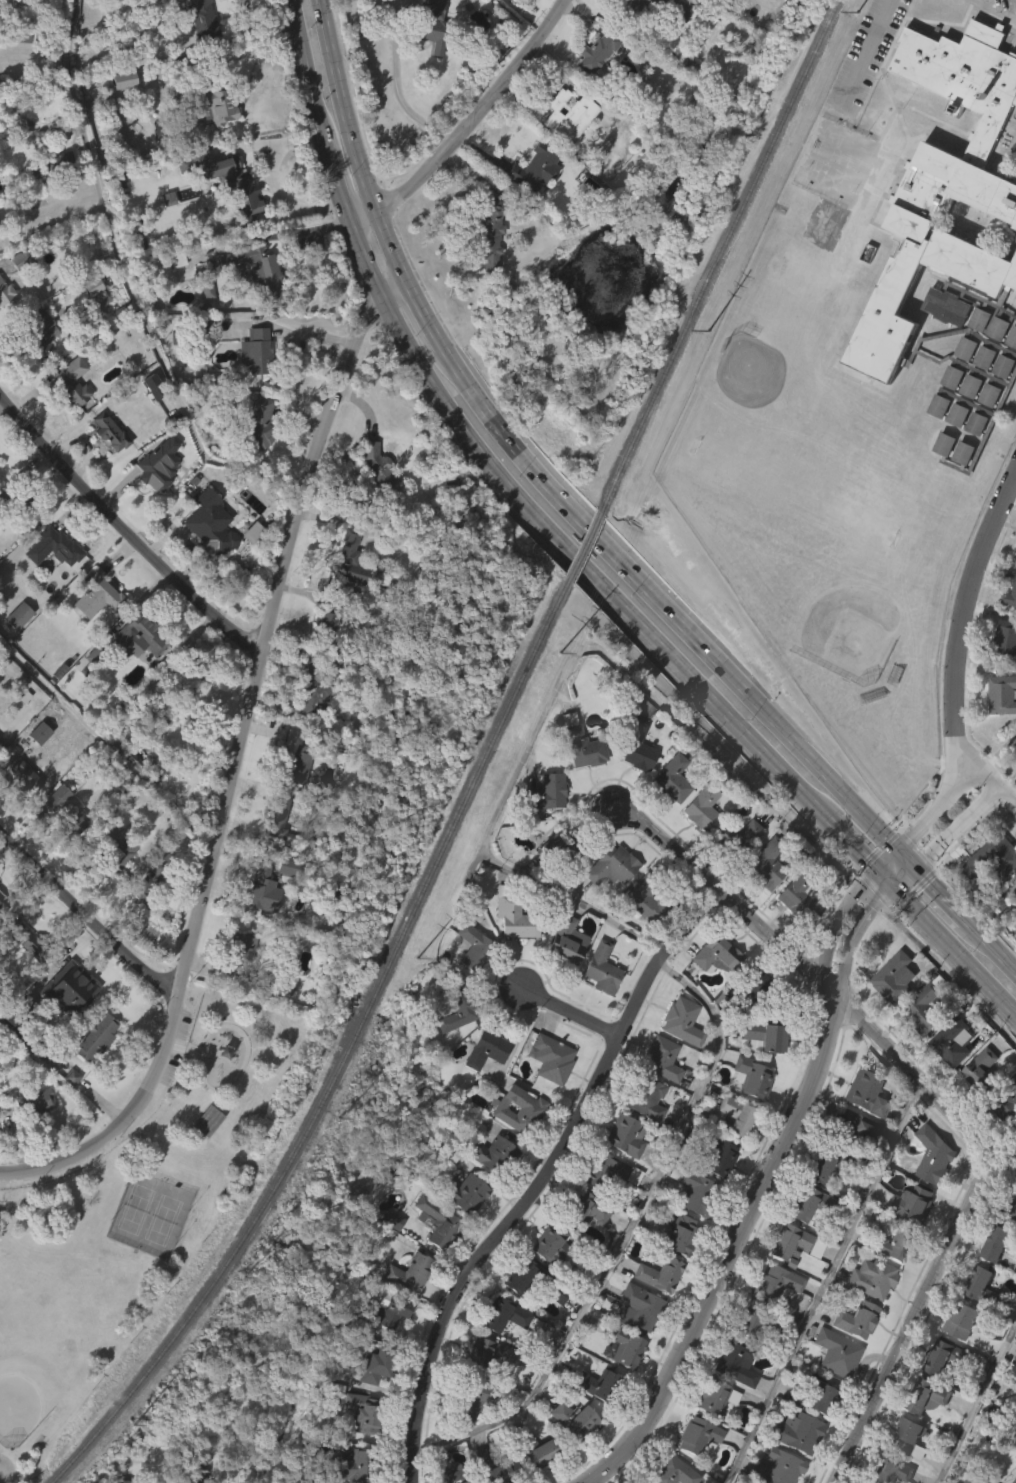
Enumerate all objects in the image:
building: (142, 0)
building: (523, 1)
building: (490, 5)
building: (658, 8)
power tower: (861, 11)
building: (204, 19)
building: (152, 20)
building: (433, 27)
building: (650, 32)
building: (197, 40)
road: (249, 51)
building: (595, 51)
building: (428, 52)
road: (866, 53)
road: (308, 65)
building: (22, 68)
road: (396, 82)
building: (591, 86)
building: (211, 103)
building: (120, 111)
building: (567, 114)
road: (463, 126)
building: (213, 134)
road: (356, 136)
building: (566, 146)
building: (60, 163)
road: (329, 166)
building: (532, 169)
road: (272, 180)
building: (236, 182)
building: (54, 194)
building: (179, 195)
building: (531, 201)
building: (226, 216)
building: (1, 227)
building: (949, 233)
building: (486, 235)
building: (1015, 237)
railway: (719, 255)
building: (173, 258)
building: (255, 270)
building: (485, 270)
road: (125, 285)
building: (17, 290)
building: (172, 290)
building: (7, 292)
building: (251, 302)
road: (422, 307)
building: (89, 318)
building: (204, 319)
building: (4, 327)
building: (41, 334)
power tower: (712, 334)
building: (942, 339)
building: (255, 350)
building: (36, 366)
building: (252, 382)
building: (152, 383)
building: (73, 386)
building: (69, 413)
building: (148, 419)
building: (256, 424)
building: (108, 433)
building: (935, 438)
building: (256, 453)
building: (105, 463)
building: (380, 470)
building: (150, 471)
building: (940, 476)
building: (959, 485)
building: (155, 496)
building: (17, 498)
building: (376, 505)
building: (210, 524)
road: (123, 530)
road: (547, 530)
railway: (583, 544)
building: (53, 546)
building: (206, 556)
building: (350, 560)
building: (248, 564)
building: (49, 579)
building: (346, 591)
building: (96, 593)
building: (1010, 596)
road: (669, 612)
building: (22, 613)
building: (326, 614)
road: (270, 622)
building: (93, 626)
road: (961, 634)
building: (138, 636)
building: (1004, 640)
building: (14, 647)
building: (321, 653)
building: (94, 654)
power tower: (560, 657)
building: (133, 669)
road: (561, 670)
building: (1003, 671)
building: (186, 683)
building: (311, 690)
building: (1002, 695)
building: (183, 716)
building: (308, 719)
building: (999, 726)
building: (578, 743)
building: (638, 747)
building: (1013, 748)
building: (291, 757)
building: (35, 765)
building: (576, 776)
building: (29, 777)
building: (670, 779)
building: (1013, 779)
building: (633, 780)
building: (290, 786)
road: (1008, 790)
building: (543, 793)
building: (21, 807)
building: (704, 808)
building: (67, 809)
building: (668, 811)
building: (273, 816)
building: (114, 821)
building: (544, 823)
road: (957, 823)
building: (53, 829)
traffic signals: (915, 834)
building: (735, 838)
building: (697, 841)
building: (563, 845)
road: (856, 847)
building: (310, 850)
building: (112, 854)
building: (71, 855)
building: (272, 855)
building: (993, 855)
traffic signals: (865, 857)
building: (766, 863)
building: (609, 866)
building: (288, 867)
building: (735, 869)
road: (874, 869)
road: (903, 874)
building: (152, 877)
traffic signals: (929, 881)
building: (114, 885)
building: (259, 891)
building: (989, 891)
building: (796, 892)
building: (763, 894)
road: (941, 894)
building: (606, 898)
building: (648, 900)
building: (0, 902)
traffic signals: (871, 908)
building: (511, 916)
building: (1015, 916)
road: (84, 917)
building: (143, 919)
building: (258, 922)
building: (795, 926)
building: (640, 932)
building: (2, 935)
road: (850, 938)
building: (564, 940)
building: (32, 942)
road: (993, 946)
building: (471, 948)
road: (954, 949)
building: (510, 950)
building: (717, 952)
building: (237, 954)
power tower: (421, 960)
building: (599, 970)
road: (946, 970)
building: (562, 972)
building: (25, 974)
building: (894, 975)
building: (237, 978)
building: (469, 978)
building: (754, 986)
building: (69, 988)
building: (597, 1000)
building: (924, 1007)
building: (889, 1010)
building: (456, 1011)
road: (572, 1012)
building: (751, 1015)
building: (64, 1019)
building: (679, 1021)
building: (96, 1037)
building: (761, 1037)
building: (952, 1040)
building: (920, 1041)
building: (453, 1043)
building: (488, 1048)
building: (677, 1052)
railway: (345, 1053)
building: (551, 1057)
building: (660, 1058)
building: (92, 1069)
building: (980, 1069)
building: (949, 1073)
building: (749, 1076)
building: (483, 1081)
building: (547, 1089)
building: (658, 1090)
building: (865, 1091)
road: (937, 1096)
building: (642, 1097)
building: (977, 1101)
building: (34, 1102)
building: (1006, 1104)
building: (516, 1107)
building: (748, 1108)
building: (735, 1114)
road: (127, 1119)
building: (206, 1120)
power tower: (341, 1121)
building: (855, 1126)
building: (642, 1130)
building: (32, 1132)
building: (623, 1134)
building: (514, 1141)
building: (732, 1146)
building: (1015, 1151)
building: (203, 1152)
building: (490, 1153)
building: (933, 1155)
building: (848, 1156)
building: (713, 1157)
building: (825, 1167)
building: (622, 1168)
building: (602, 1169)
road: (546, 1180)
building: (490, 1186)
building: (930, 1187)
building: (716, 1189)
building: (695, 1191)
building: (461, 1192)
building: (608, 1202)
building: (811, 1203)
building: (911, 1203)
building: (1009, 1206)
building: (581, 1208)
park: (137, 1211)
building: (433, 1221)
building: (689, 1222)
building: (461, 1225)
road: (624, 1231)
building: (677, 1233)
building: (802, 1234)
building: (907, 1235)
building: (583, 1240)
building: (792, 1242)
building: (891, 1242)
building: (999, 1244)
building: (549, 1246)
building: (431, 1253)
road: (730, 1255)
building: (676, 1264)
building: (657, 1273)
building: (406, 1274)
building: (789, 1274)
building: (870, 1277)
building: (531, 1279)
power tower: (245, 1280)
road: (823, 1280)
building: (778, 1283)
building: (987, 1288)
building: (405, 1304)
building: (636, 1305)
building: (517, 1306)
building: (655, 1306)
building: (383, 1312)
building: (773, 1313)
building: (502, 1315)
building: (855, 1319)
building: (971, 1321)
building: (755, 1322)
building: (384, 1342)
building: (503, 1347)
building: (623, 1347)
building: (835, 1352)
building: (482, 1353)
building: (944, 1357)
building: (1015, 1359)
building: (734, 1361)
building: (374, 1363)
building: (619, 1379)
building: (491, 1383)
building: (832, 1384)
building: (597, 1385)
building: (1014, 1390)
building: (731, 1395)
building: (715, 1396)
building: (926, 1396)
building: (467, 1397)
building: (818, 1399)
road: (976, 1401)
building: (364, 1412)
building: (591, 1415)
building: (570, 1419)
building: (922, 1426)
building: (1013, 1427)
power tower: (132, 1429)
building: (818, 1430)
building: (466, 1432)
building: (795, 1432)
building: (910, 1436)
building: (696, 1437)
building: (358, 1442)
building: (537, 1451)
building: (569, 1451)
building: (1013, 1461)
building: (352, 1465)
building: (492, 1466)
building: (694, 1466)
building: (776, 1467)
building: (674, 1471)
building: (890, 1471)
building: (452, 1475)
building: (532, 1476)
building: (976, 1478)
building: (476, 1480)
building: (123, 1481)
building: (1014, 1481)
building: (637, 1482)

